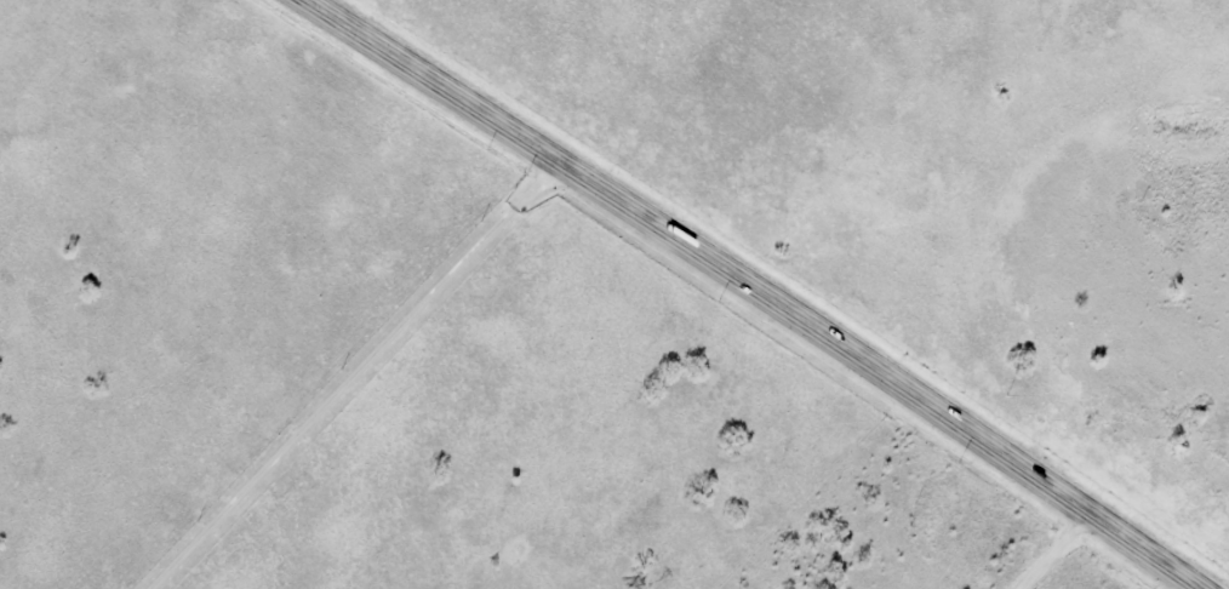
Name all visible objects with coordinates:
road: (748, 290)

